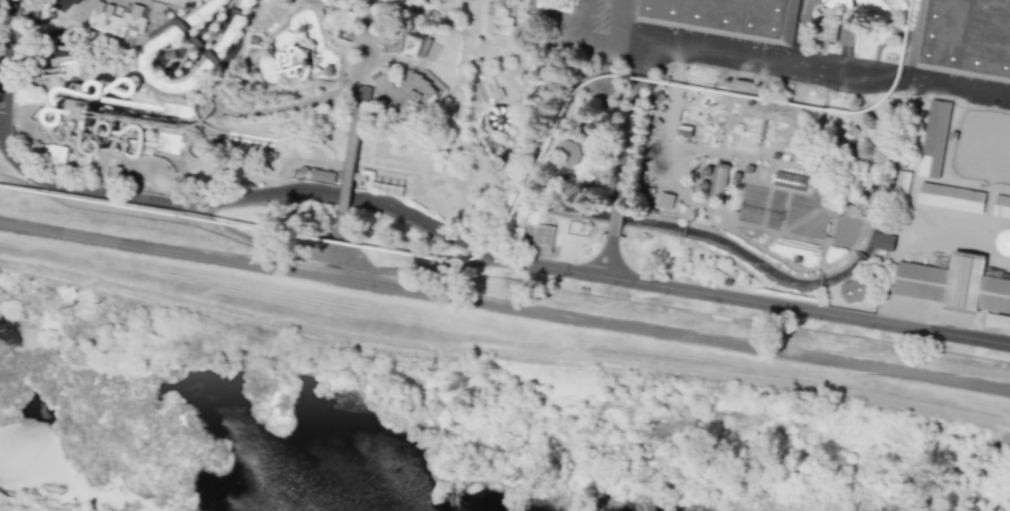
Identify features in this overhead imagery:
building: (882, 1)
building: (119, 10)
building: (34, 13)
building: (727, 15)
building: (117, 19)
building: (496, 19)
road: (624, 20)
building: (350, 21)
building: (826, 29)
building: (344, 34)
road: (583, 35)
building: (967, 37)
building: (253, 38)
building: (350, 38)
building: (403, 43)
road: (5, 51)
building: (168, 53)
building: (306, 60)
road: (643, 66)
building: (158, 69)
building: (328, 70)
building: (175, 73)
road: (815, 74)
toll booth: (362, 89)
building: (366, 92)
building: (497, 94)
building: (409, 105)
building: (450, 110)
building: (85, 111)
building: (501, 118)
theme park: (559, 133)
building: (935, 139)
park: (983, 146)
building: (36, 147)
building: (240, 148)
building: (54, 154)
road: (625, 160)
building: (503, 161)
road: (349, 168)
building: (116, 172)
building: (320, 175)
building: (358, 176)
building: (719, 180)
building: (789, 181)
building: (903, 182)
building: (386, 187)
road: (266, 194)
building: (951, 197)
building: (665, 200)
railway: (519, 201)
building: (1002, 206)
building: (543, 238)
road: (608, 255)
building: (955, 284)
building: (854, 290)
road: (773, 303)
road: (504, 307)
building: (997, 321)
road: (503, 351)

